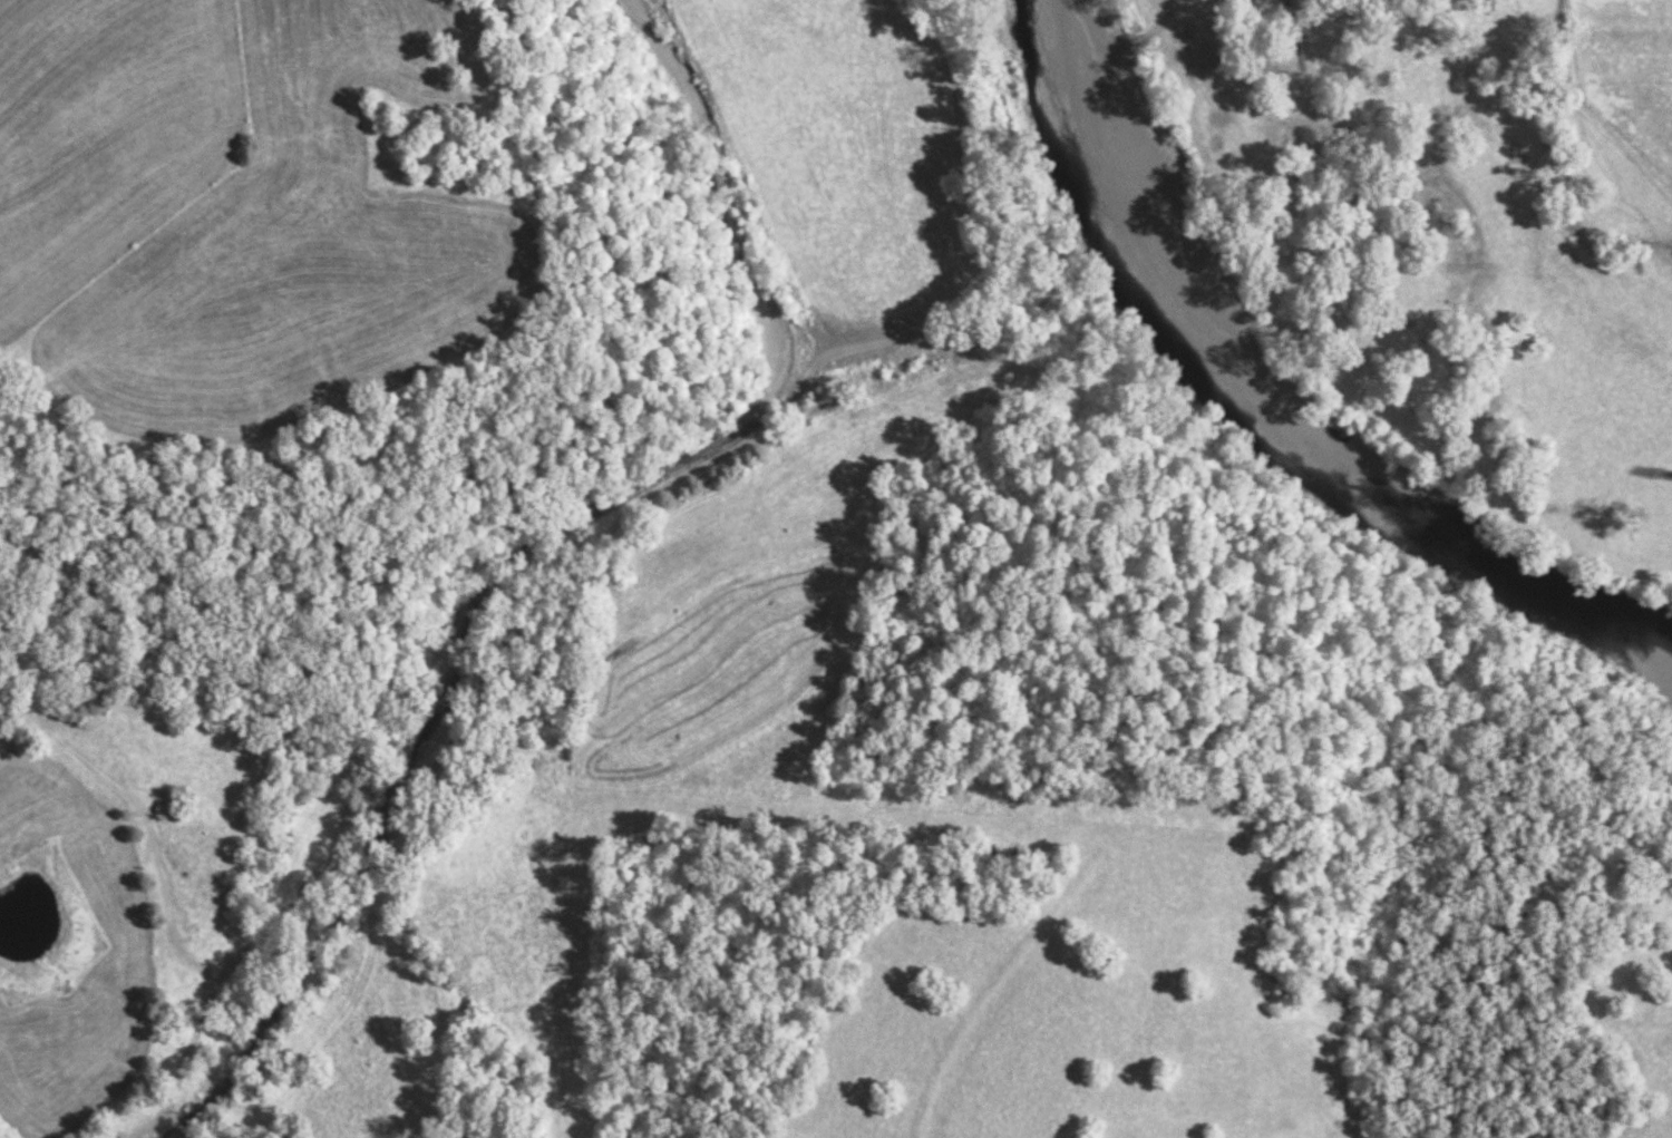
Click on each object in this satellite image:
river: (1248, 431)

